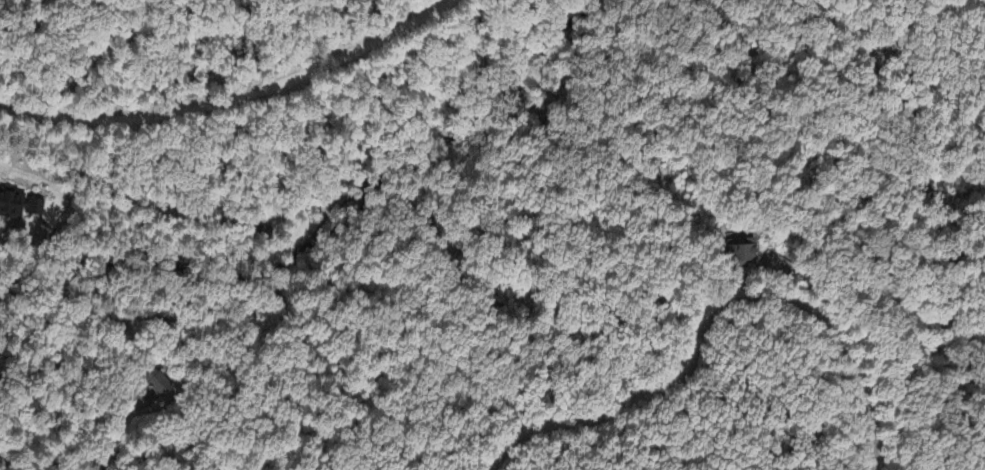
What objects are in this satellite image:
road: (236, 97)
building: (19, 206)
building: (741, 257)
road: (711, 316)

